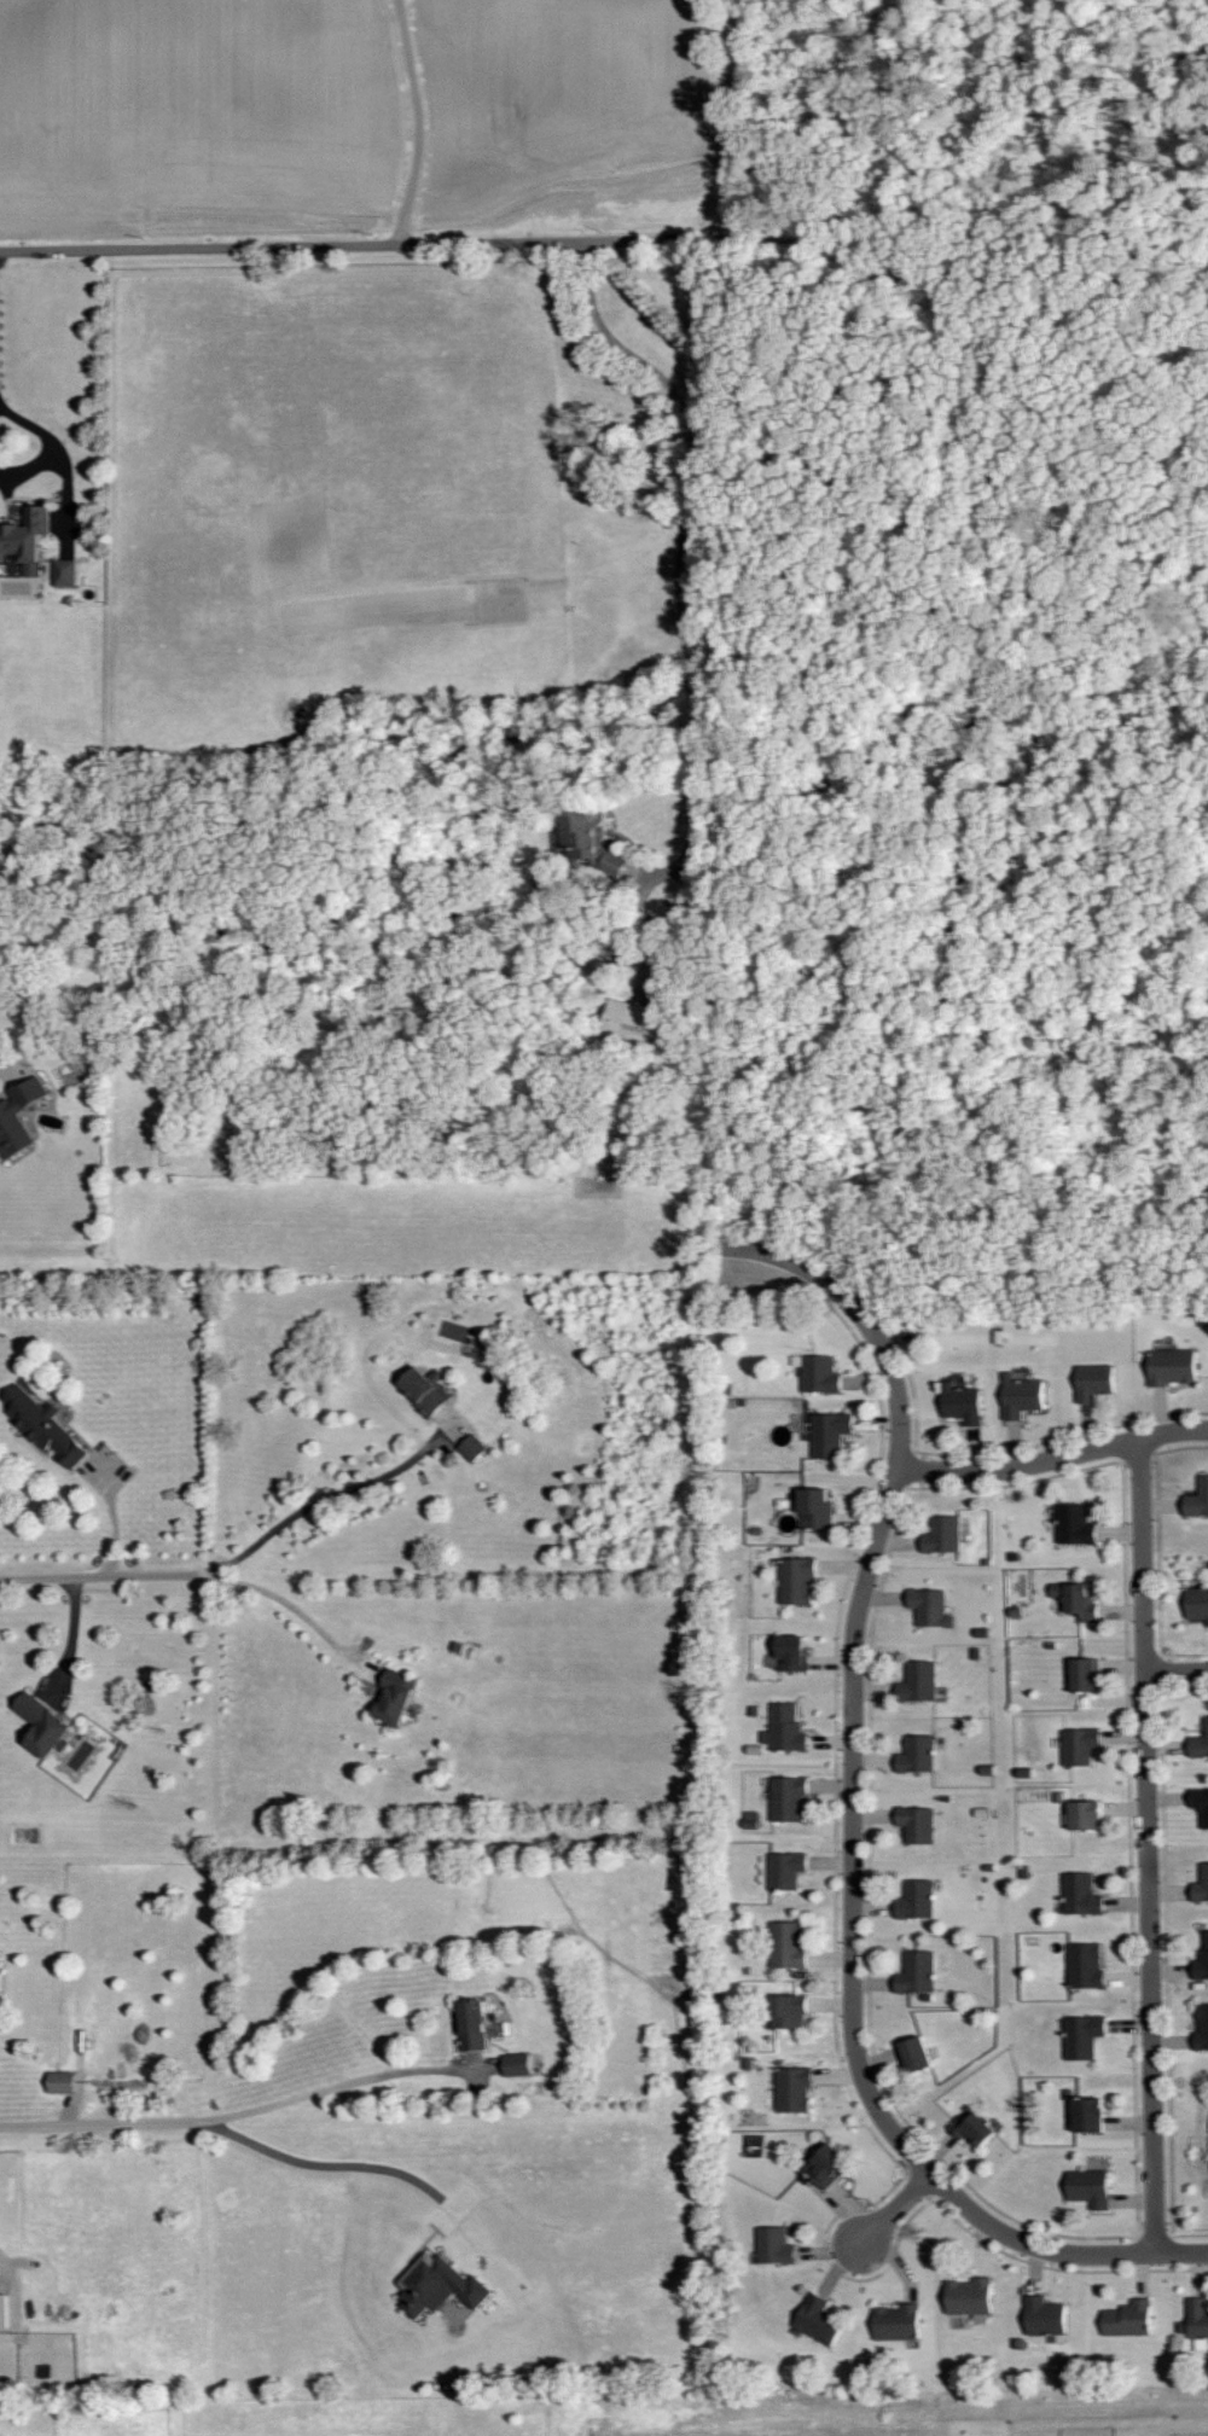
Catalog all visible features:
road: (414, 122)
road: (964, 234)
road: (478, 243)
road: (48, 444)
building: (25, 539)
building: (64, 572)
road: (679, 595)
building: (590, 841)
building: (629, 1022)
road: (5, 1070)
building: (17, 1117)
building: (1172, 1367)
building: (820, 1376)
building: (1094, 1383)
building: (425, 1391)
building: (1021, 1397)
building: (962, 1405)
building: (43, 1428)
building: (829, 1435)
road: (1140, 1440)
building: (472, 1448)
road: (986, 1471)
building: (1197, 1500)
road: (314, 1501)
building: (815, 1510)
building: (1075, 1525)
building: (942, 1536)
road: (192, 1576)
building: (796, 1582)
building: (1076, 1601)
building: (1197, 1604)
building: (930, 1609)
road: (71, 1639)
building: (792, 1655)
road: (1177, 1672)
building: (1085, 1675)
building: (918, 1684)
building: (395, 1698)
building: (42, 1726)
building: (786, 1728)
building: (1200, 1744)
building: (1079, 1746)
building: (917, 1755)
building: (788, 1798)
building: (1200, 1803)
building: (1086, 1814)
road: (853, 1819)
building: (751, 1820)
building: (917, 1824)
road: (1148, 1847)
building: (785, 1870)
building: (1201, 1884)
building: (1081, 1894)
building: (916, 1900)
building: (788, 1944)
building: (1202, 1959)
building: (1085, 1966)
building: (917, 1972)
building: (789, 2011)
building: (472, 2024)
building: (1202, 2027)
building: (1082, 2035)
building: (917, 2053)
building: (517, 2064)
building: (60, 2082)
road: (335, 2083)
building: (792, 2089)
building: (1088, 2115)
building: (972, 2127)
road: (254, 2143)
building: (826, 2165)
building: (1090, 2187)
road: (896, 2209)
building: (774, 2246)
building: (437, 2286)
building: (970, 2298)
building: (2, 2312)
building: (1045, 2316)
building: (817, 2319)
building: (1128, 2319)
building: (896, 2322)
building: (1198, 2322)

